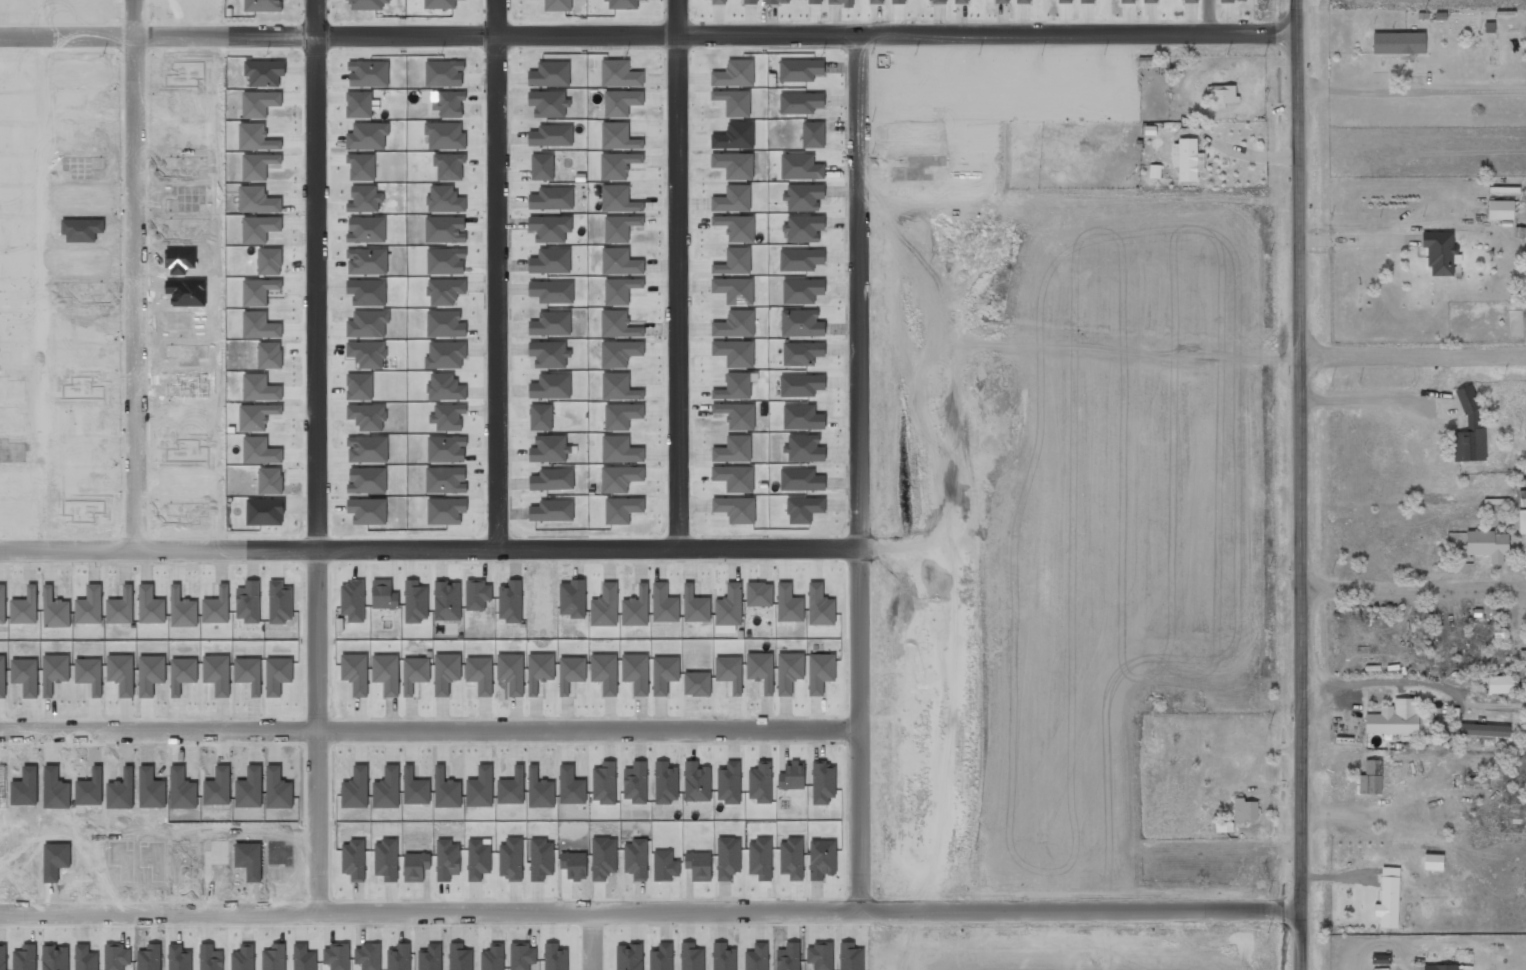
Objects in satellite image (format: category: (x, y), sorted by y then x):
building: (1186, 0)
building: (1233, 0)
building: (875, 1)
building: (898, 1)
building: (938, 1)
building: (961, 1)
building: (1001, 1)
building: (1023, 1)
building: (1064, 1)
building: (1086, 1)
building: (1127, 1)
building: (1150, 1)
building: (718, 2)
building: (749, 2)
building: (776, 2)
building: (814, 2)
building: (839, 2)
building: (368, 4)
building: (439, 4)
building: (621, 4)
building: (263, 5)
building: (557, 5)
road: (1211, 17)
road: (650, 36)
building: (1398, 42)
building: (800, 70)
building: (264, 72)
building: (368, 73)
building: (443, 73)
building: (734, 73)
building: (549, 74)
building: (619, 74)
building: (621, 102)
building: (733, 102)
building: (449, 103)
building: (548, 103)
building: (800, 103)
building: (358, 104)
building: (445, 135)
building: (367, 136)
building: (551, 136)
building: (618, 136)
building: (734, 136)
building: (1187, 159)
building: (618, 165)
building: (733, 165)
building: (361, 166)
building: (449, 166)
building: (542, 166)
building: (800, 167)
building: (1155, 171)
building: (551, 198)
building: (364, 199)
building: (444, 199)
building: (618, 199)
building: (732, 199)
building: (1500, 209)
building: (620, 227)
building: (737, 227)
building: (550, 228)
building: (804, 228)
building: (366, 229)
building: (445, 229)
building: (1520, 232)
building: (1440, 252)
building: (366, 261)
building: (445, 261)
building: (550, 261)
building: (734, 261)
building: (620, 262)
road: (495, 274)
road: (677, 274)
road: (133, 276)
building: (620, 290)
building: (734, 290)
building: (445, 291)
building: (551, 291)
building: (367, 292)
building: (801, 323)
building: (445, 324)
building: (550, 324)
building: (618, 324)
building: (735, 324)
building: (549, 353)
building: (619, 353)
building: (445, 355)
road: (1415, 355)
building: (359, 386)
building: (550, 386)
building: (445, 387)
building: (621, 415)
building: (367, 416)
building: (447, 417)
building: (540, 417)
building: (1469, 429)
building: (367, 449)
building: (446, 449)
building: (549, 449)
building: (733, 449)
road: (318, 456)
road: (859, 471)
building: (552, 479)
building: (367, 480)
building: (445, 480)
road: (1305, 484)
building: (1522, 498)
building: (735, 509)
building: (445, 510)
building: (367, 511)
building: (552, 511)
building: (1522, 521)
building: (1487, 544)
road: (429, 548)
road: (1416, 594)
building: (1522, 657)
building: (1500, 684)
building: (1394, 718)
road: (431, 727)
building: (1484, 730)
building: (1371, 778)
building: (1244, 810)
building: (1433, 862)
building: (1388, 898)
road: (651, 909)
building: (1380, 959)
building: (1440, 967)

